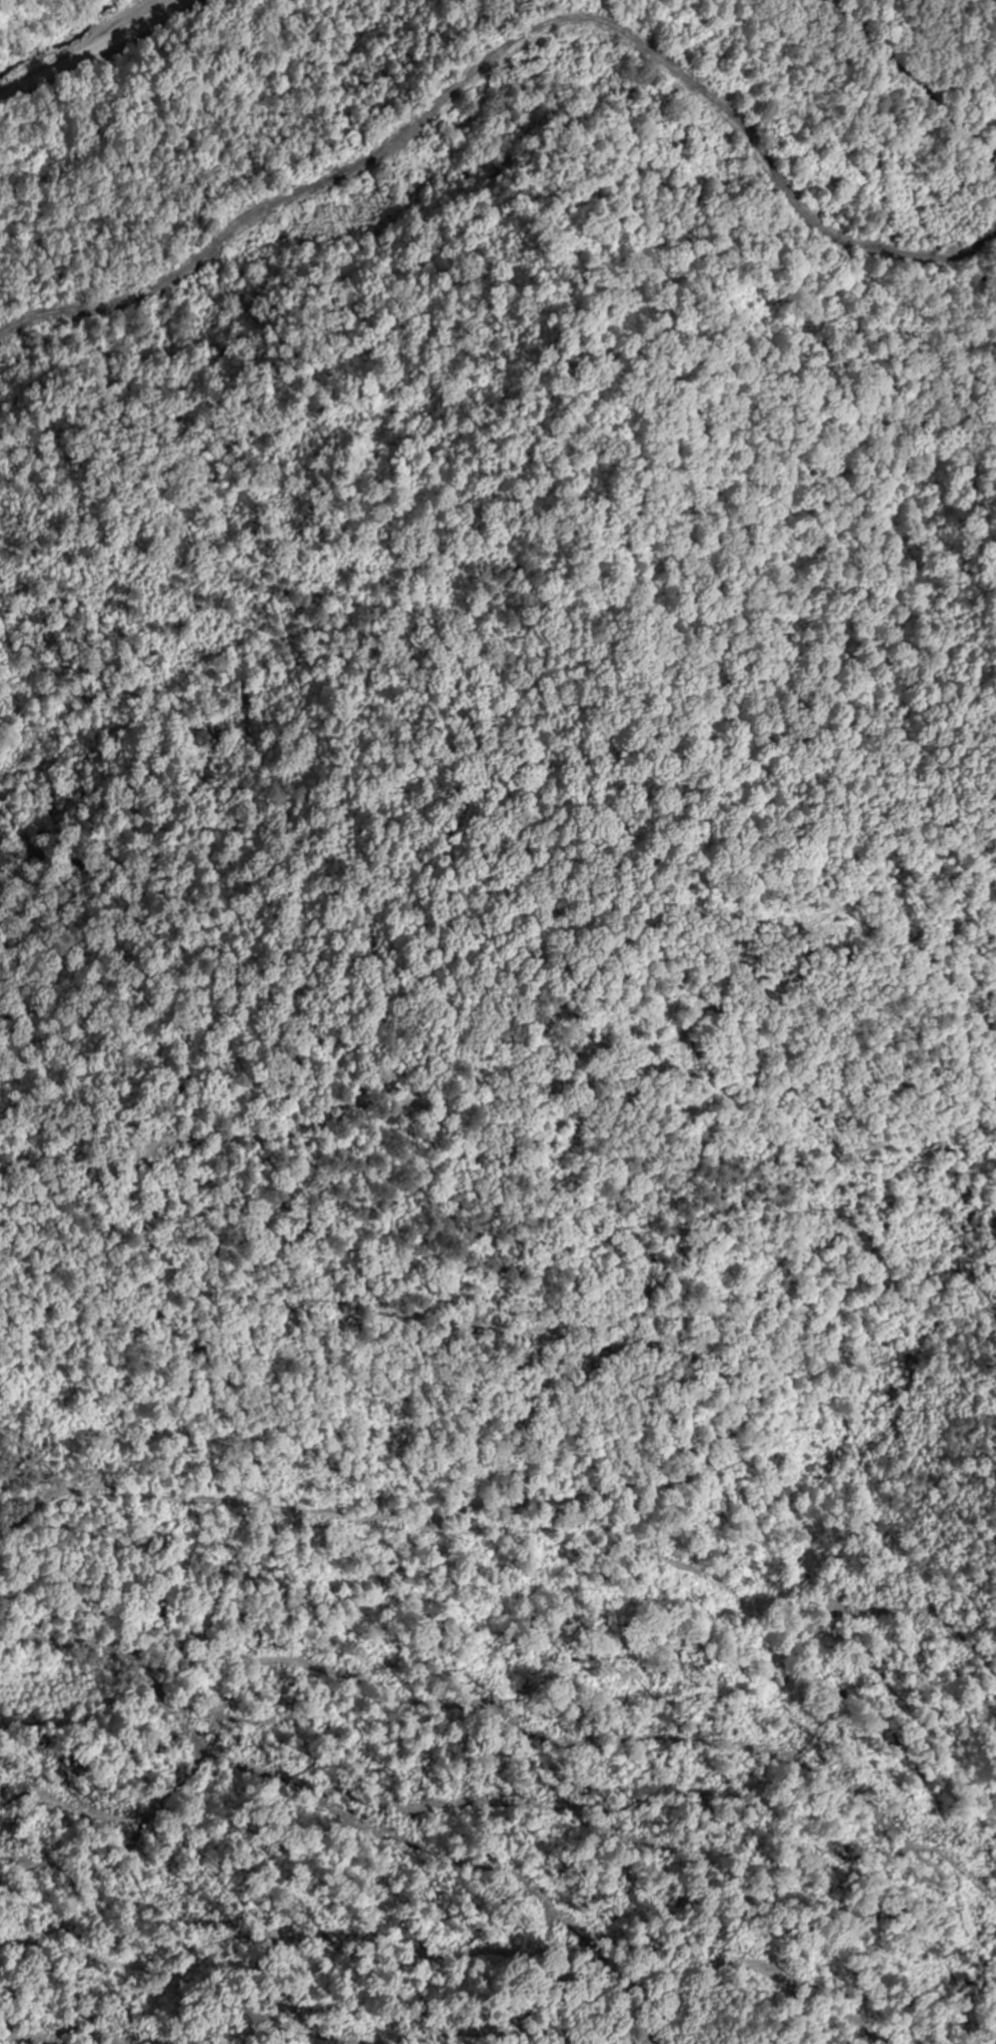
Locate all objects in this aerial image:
road: (96, 54)

